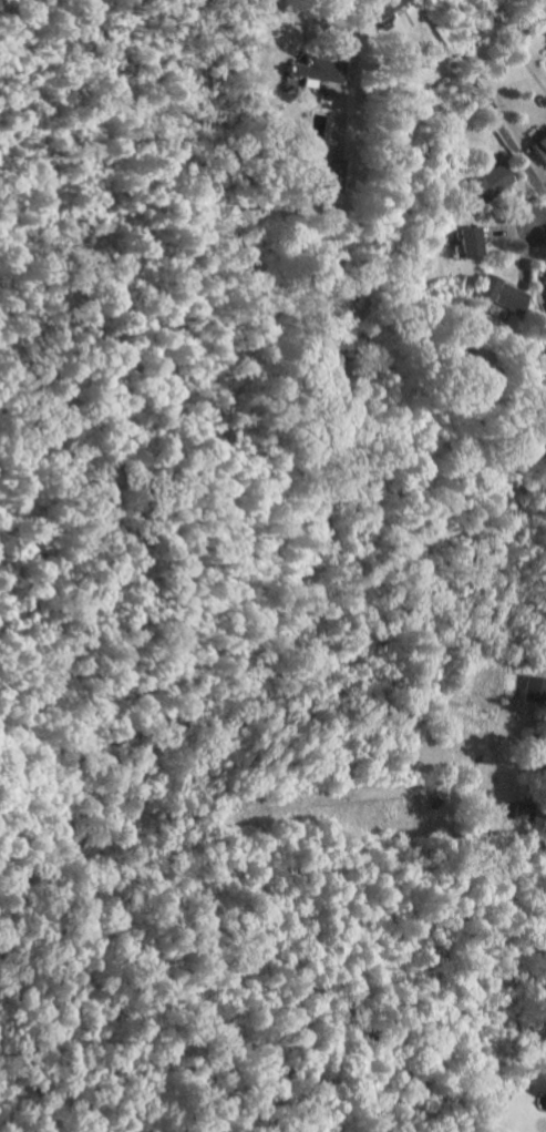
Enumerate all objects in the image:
building: (385, 7)
road: (354, 44)
building: (316, 70)
building: (312, 124)
building: (540, 147)
building: (331, 173)
building: (491, 182)
road: (508, 223)
road: (540, 223)
building: (471, 242)
building: (544, 274)
building: (502, 293)
building: (535, 687)

